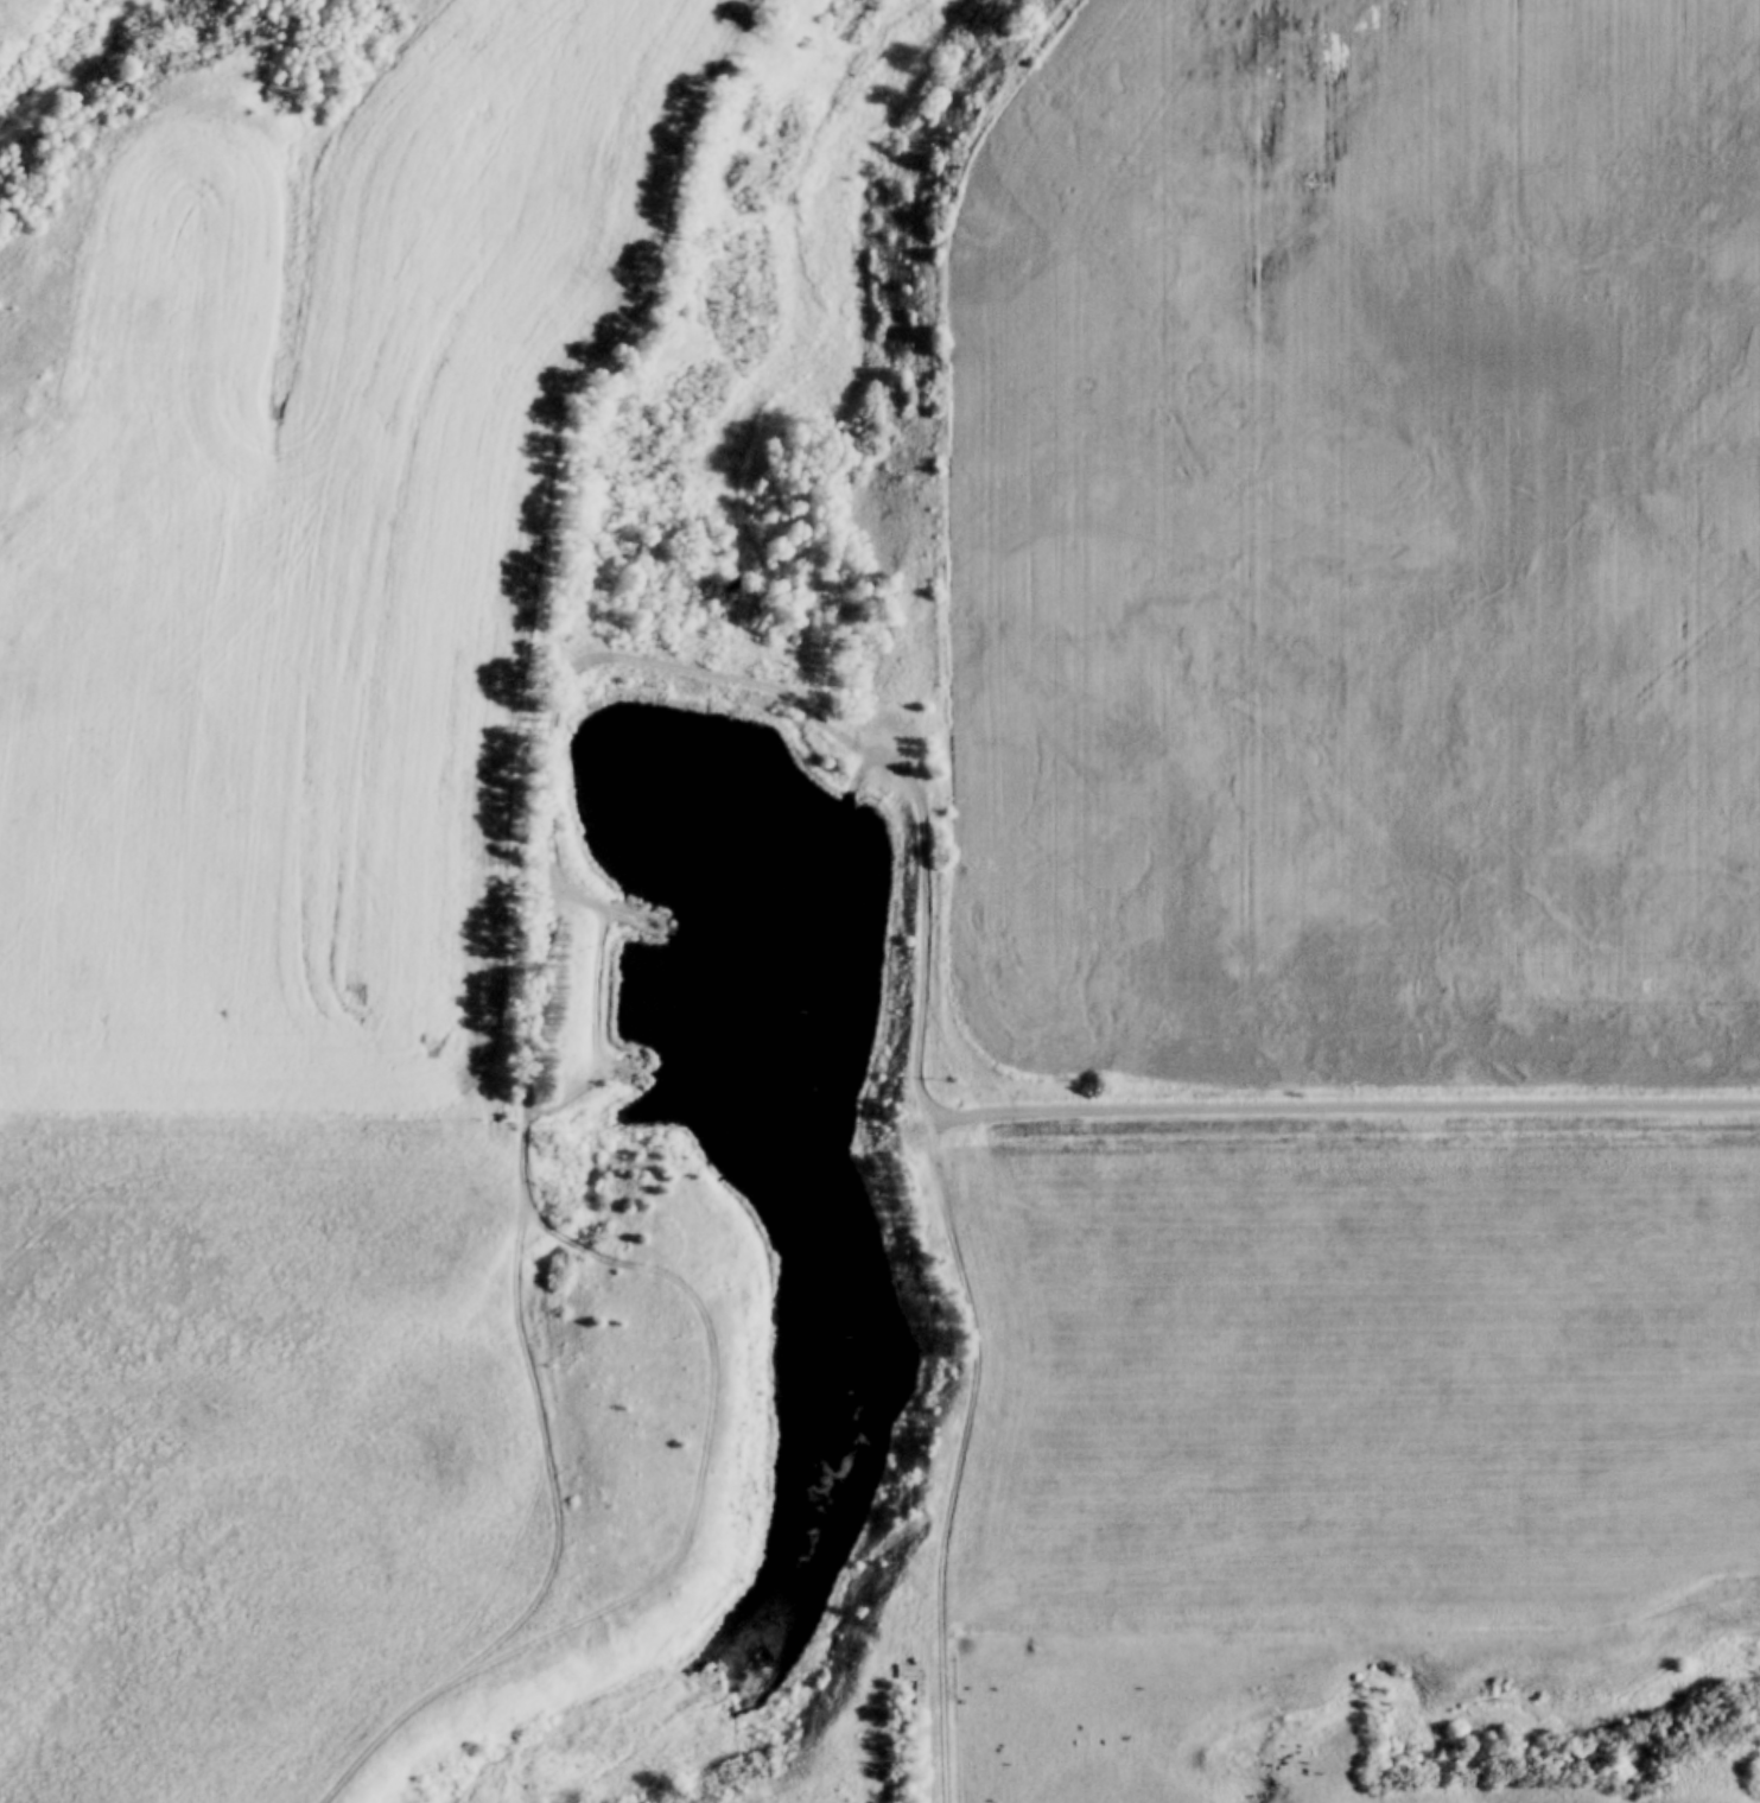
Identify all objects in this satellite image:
road: (644, 650)
dam: (685, 697)
road: (859, 766)
road: (604, 899)
road: (919, 952)
road: (1353, 1107)
road: (520, 1142)
road: (958, 1458)

